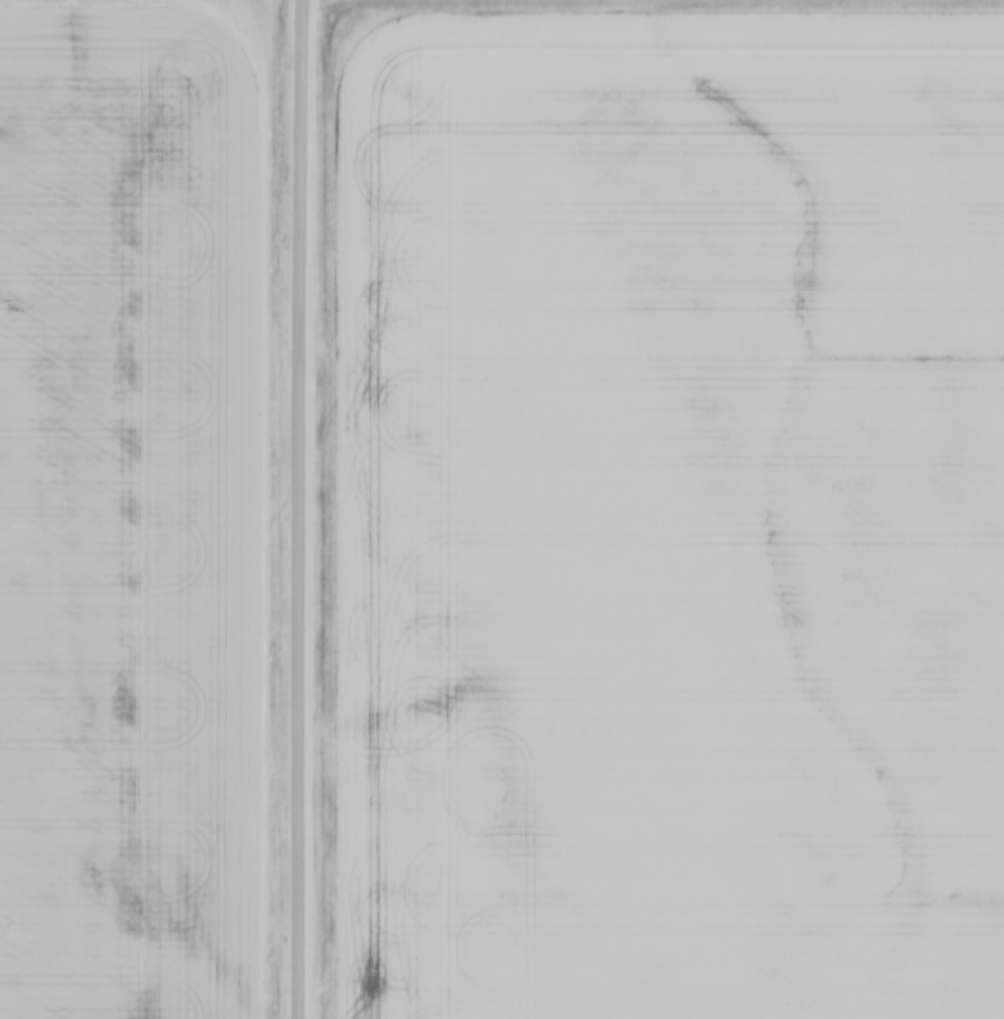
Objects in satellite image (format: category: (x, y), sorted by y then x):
crop: (668, 520)

